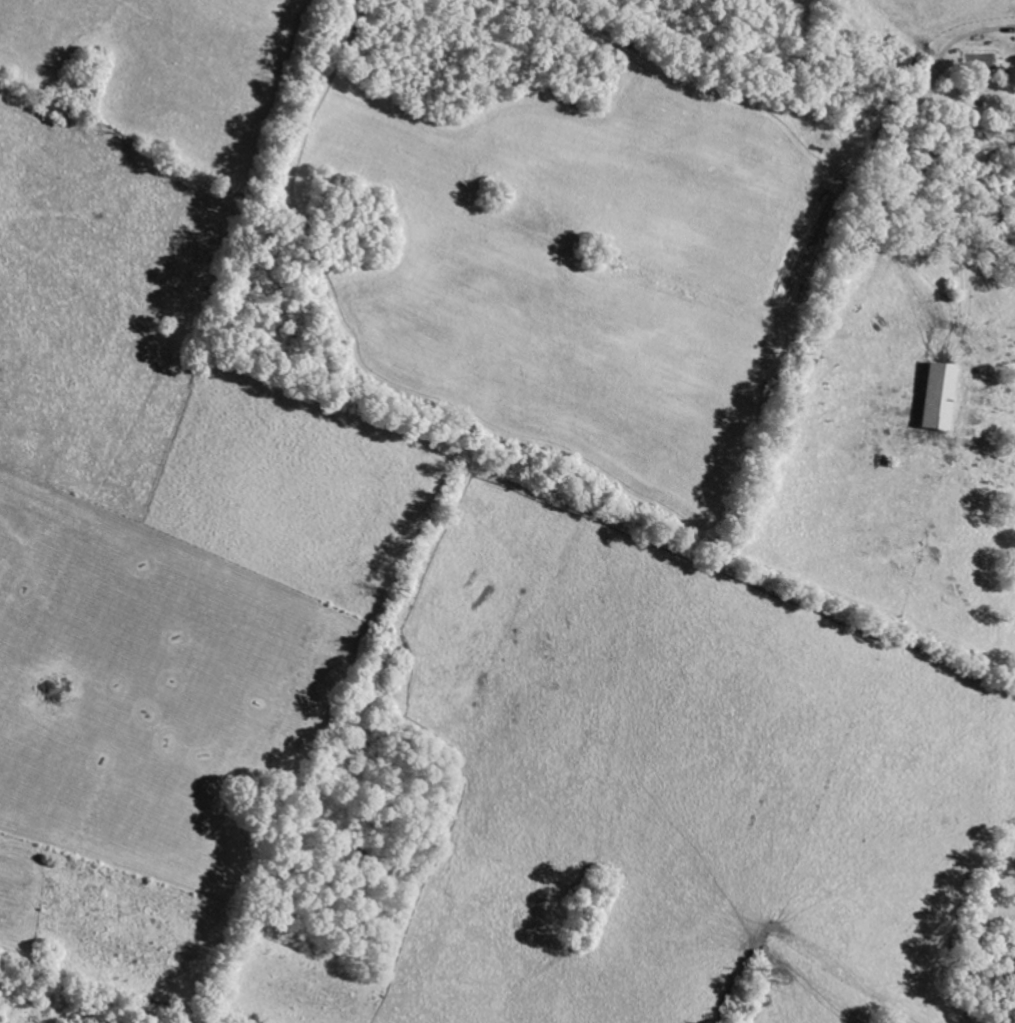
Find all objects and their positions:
building: (936, 397)

